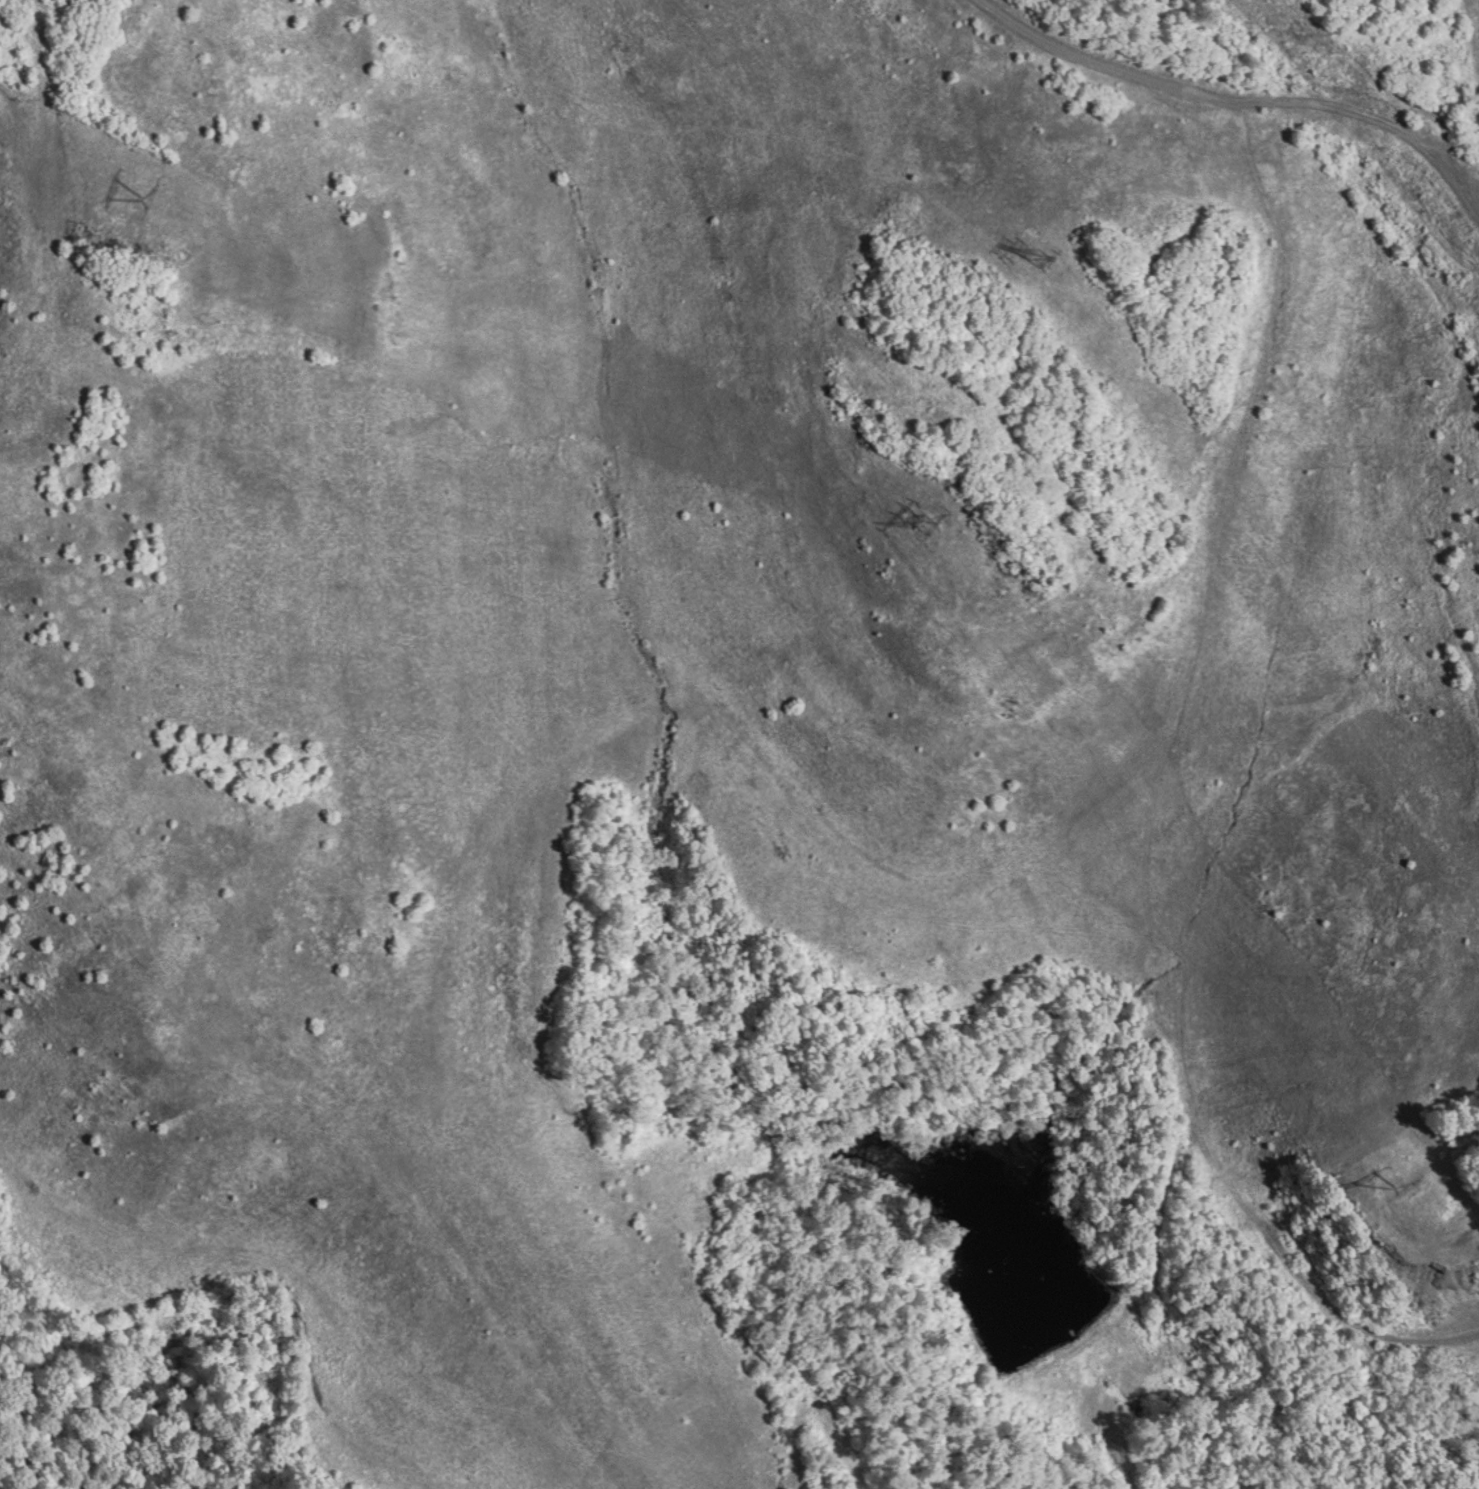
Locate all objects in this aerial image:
power tower: (151, 180)
power tower: (1041, 249)
power tower: (923, 506)
power tower: (1397, 1166)

